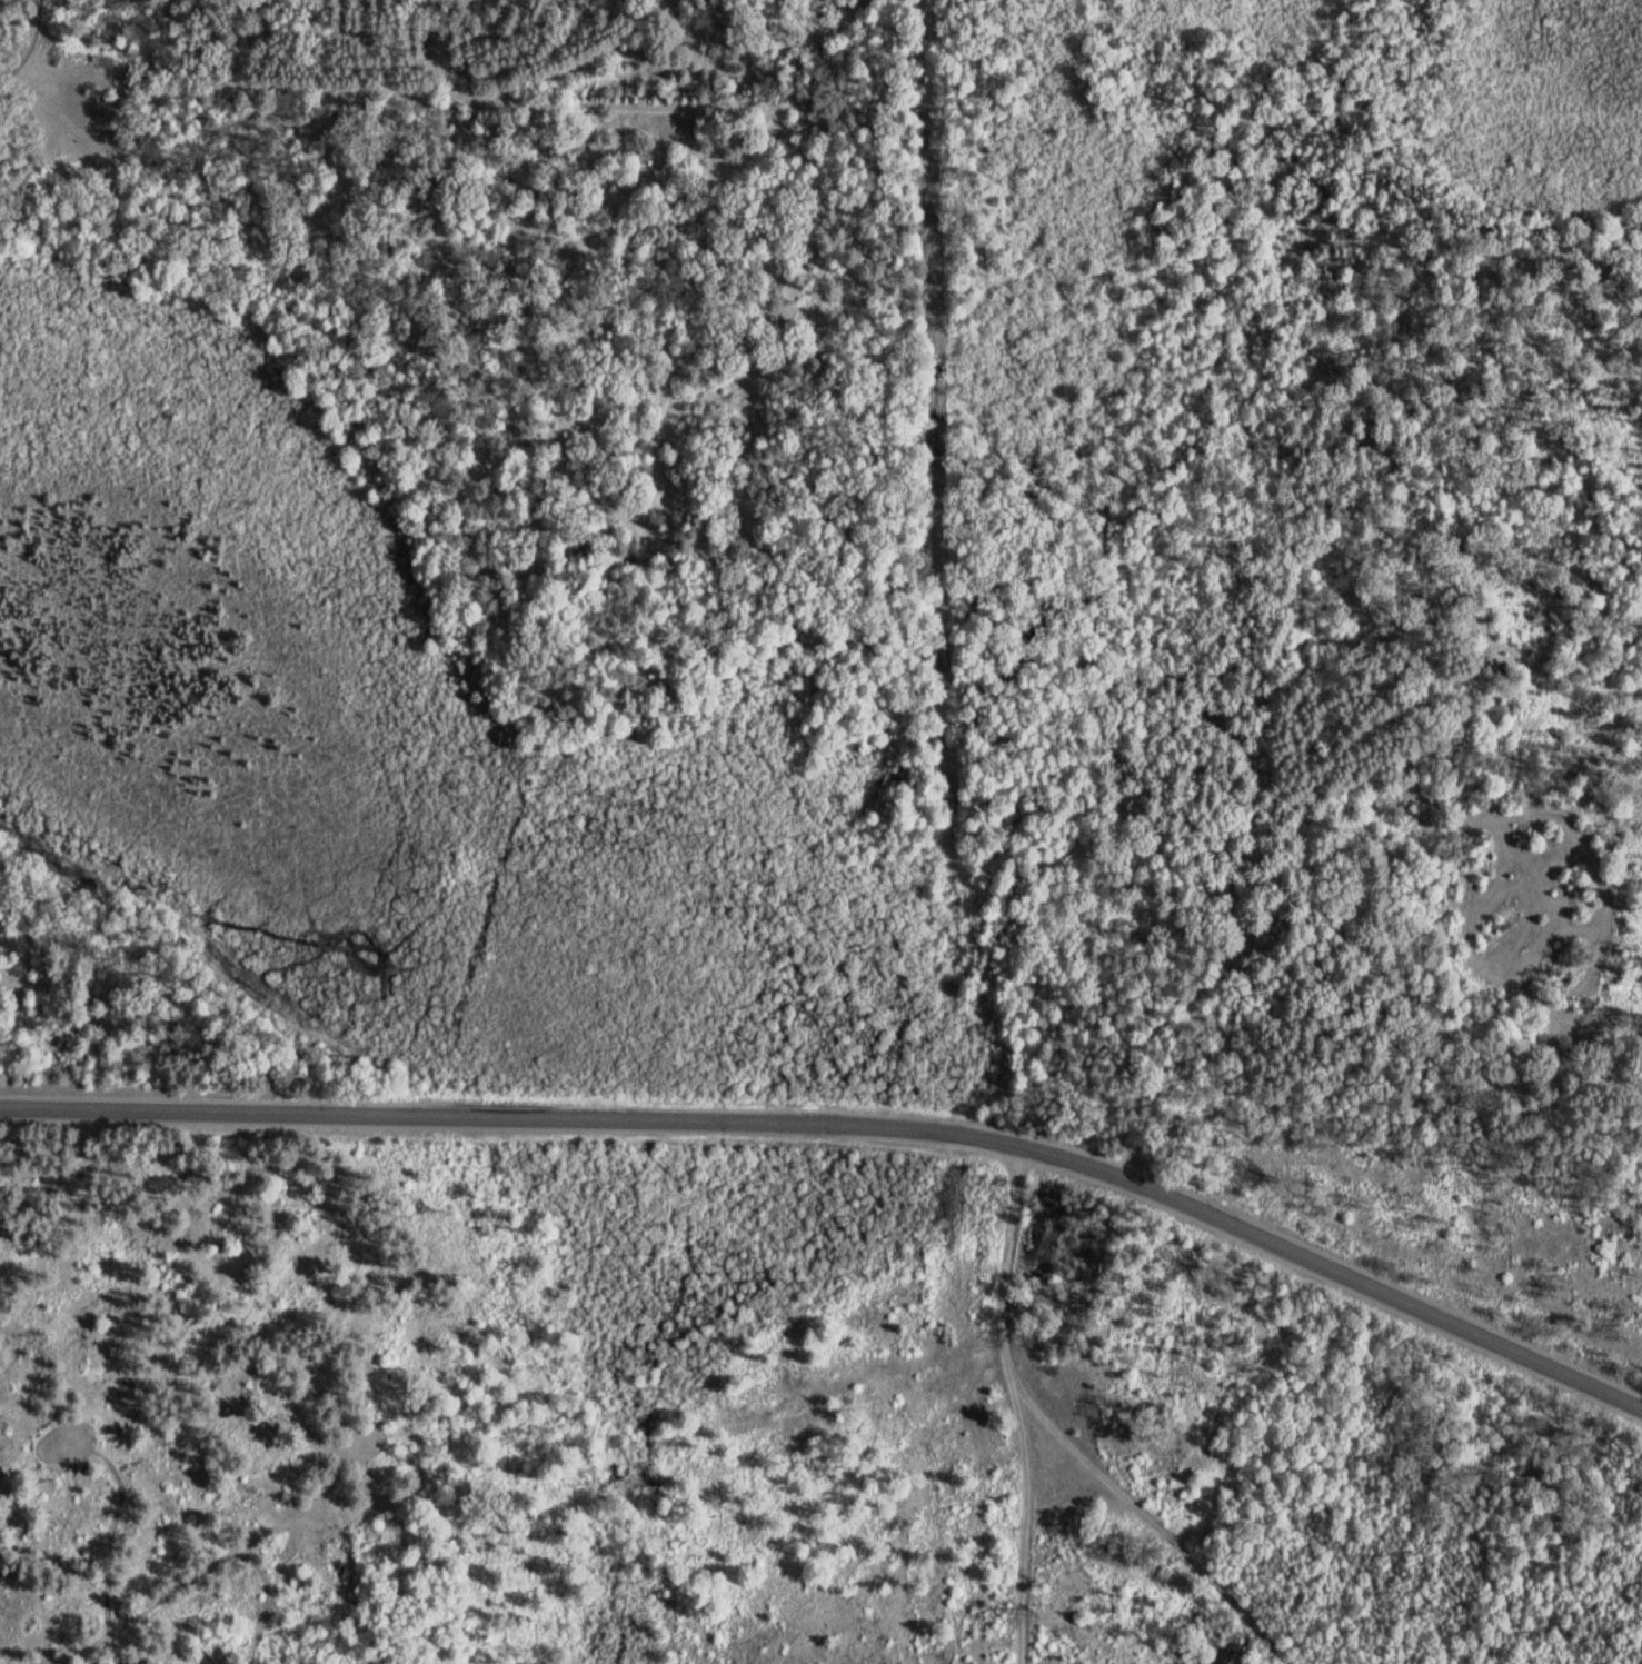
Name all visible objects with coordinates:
road: (28, 42)
building: (1267, 943)
road: (848, 1123)
road: (1001, 1406)
road: (1136, 1523)

